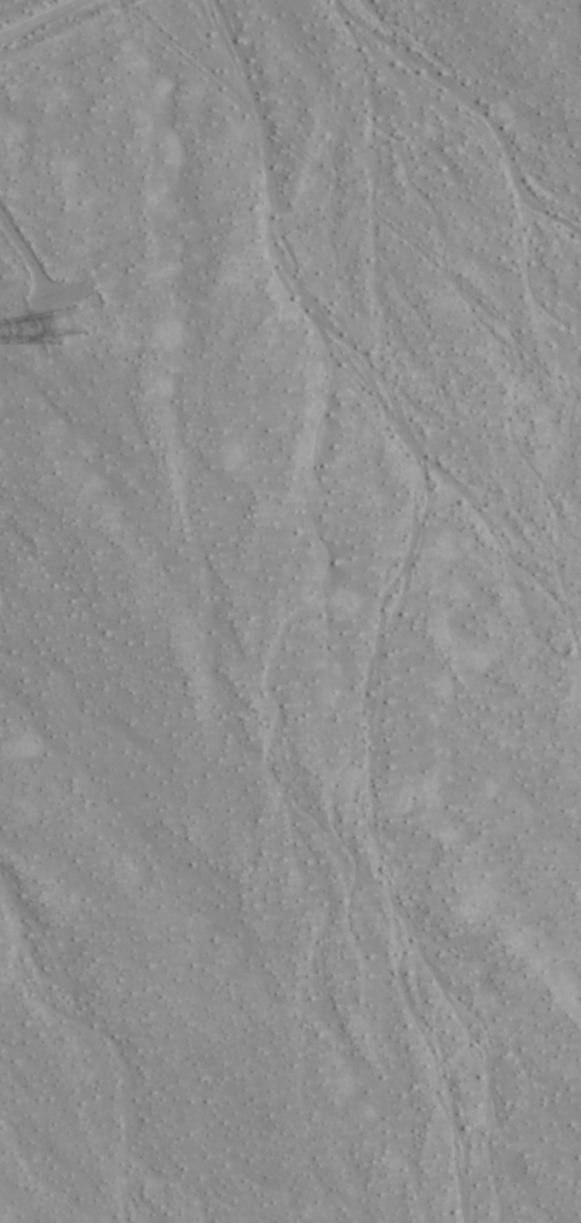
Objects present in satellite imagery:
road: (29, 12)
power tower: (64, 333)

